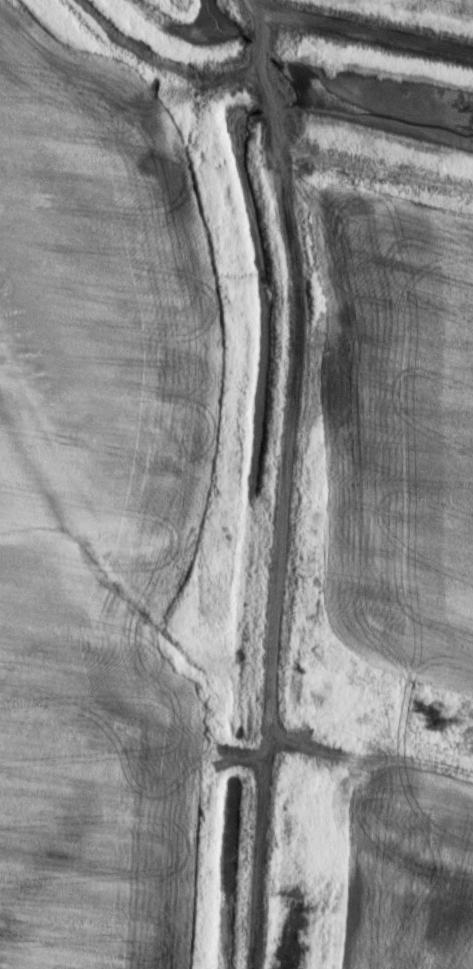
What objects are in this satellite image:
road: (360, 31)
road: (286, 489)

